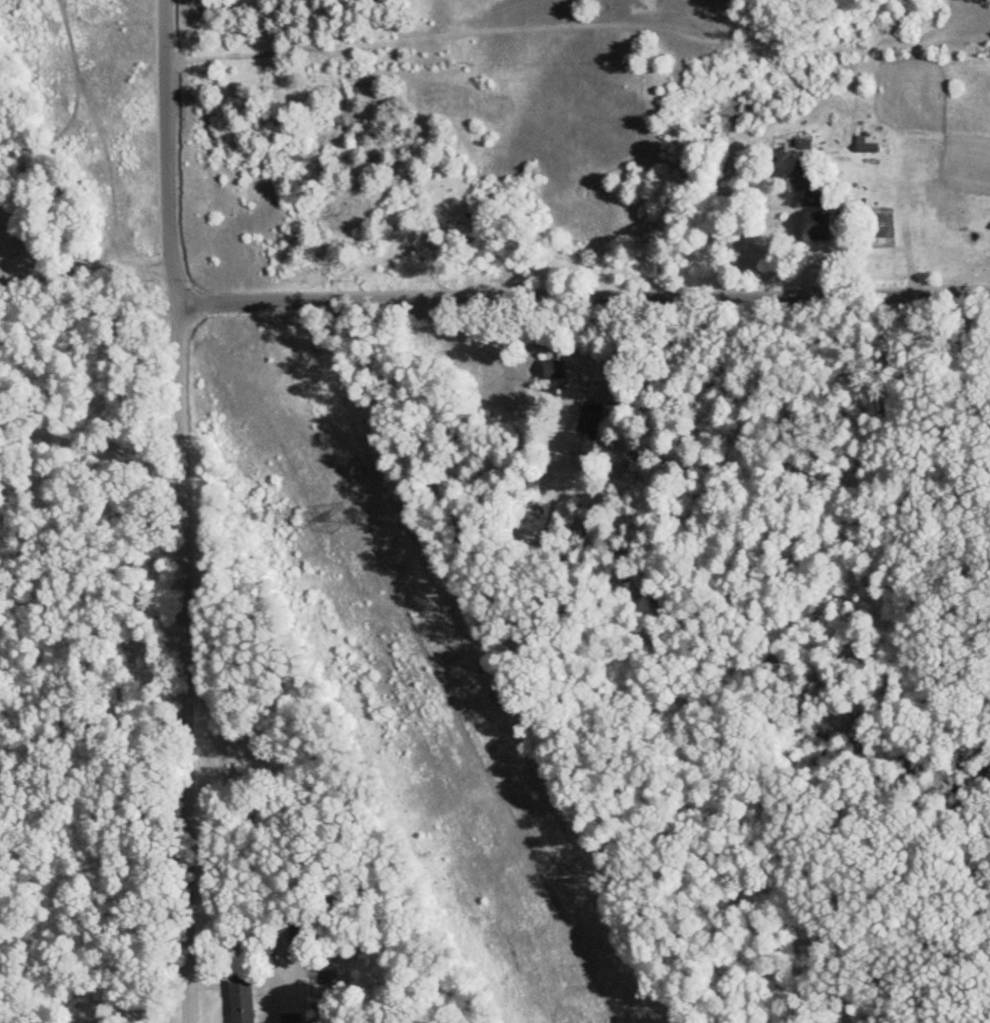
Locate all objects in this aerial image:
road: (81, 155)
building: (816, 230)
road: (87, 269)
road: (582, 290)
building: (551, 371)
road: (90, 381)
building: (584, 429)
road: (92, 437)
road: (186, 511)
power tower: (333, 516)
building: (240, 1008)
road: (146, 1010)

